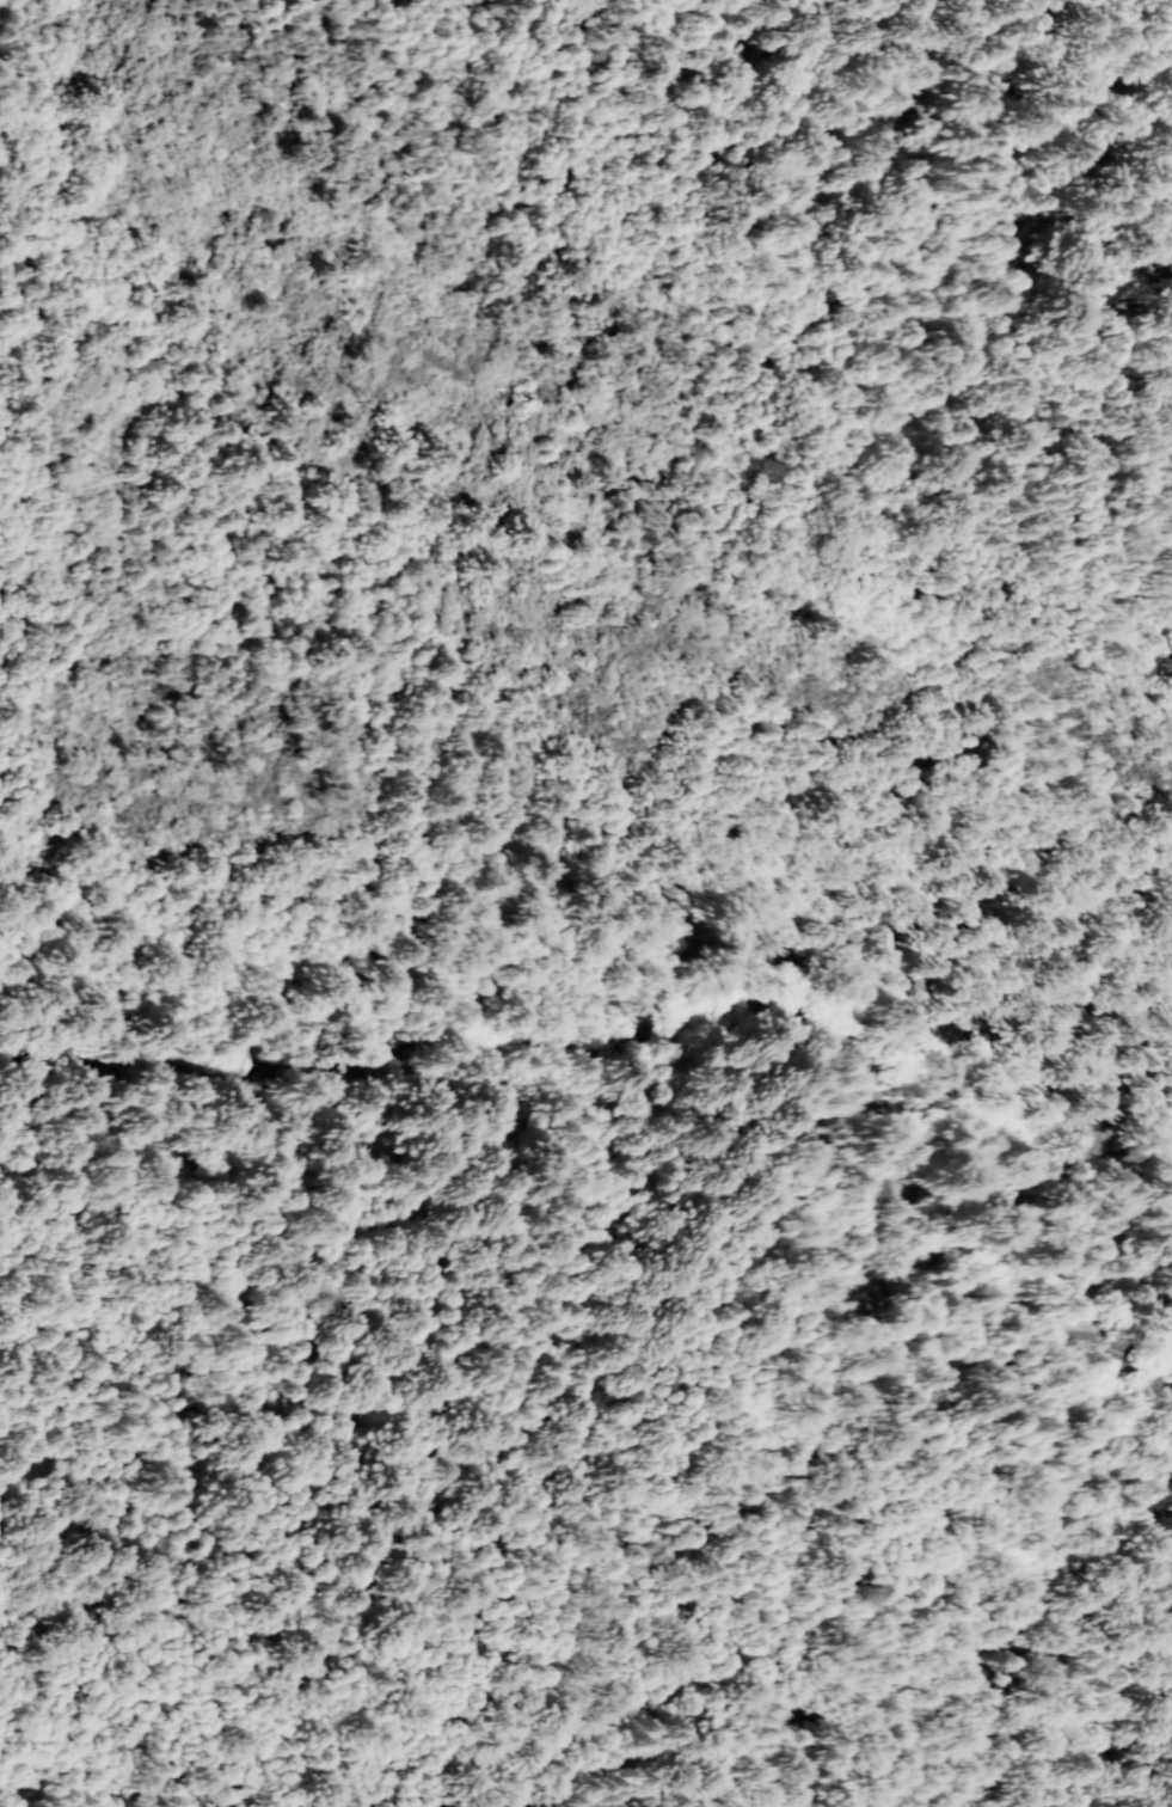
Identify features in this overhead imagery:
road: (673, 1030)

